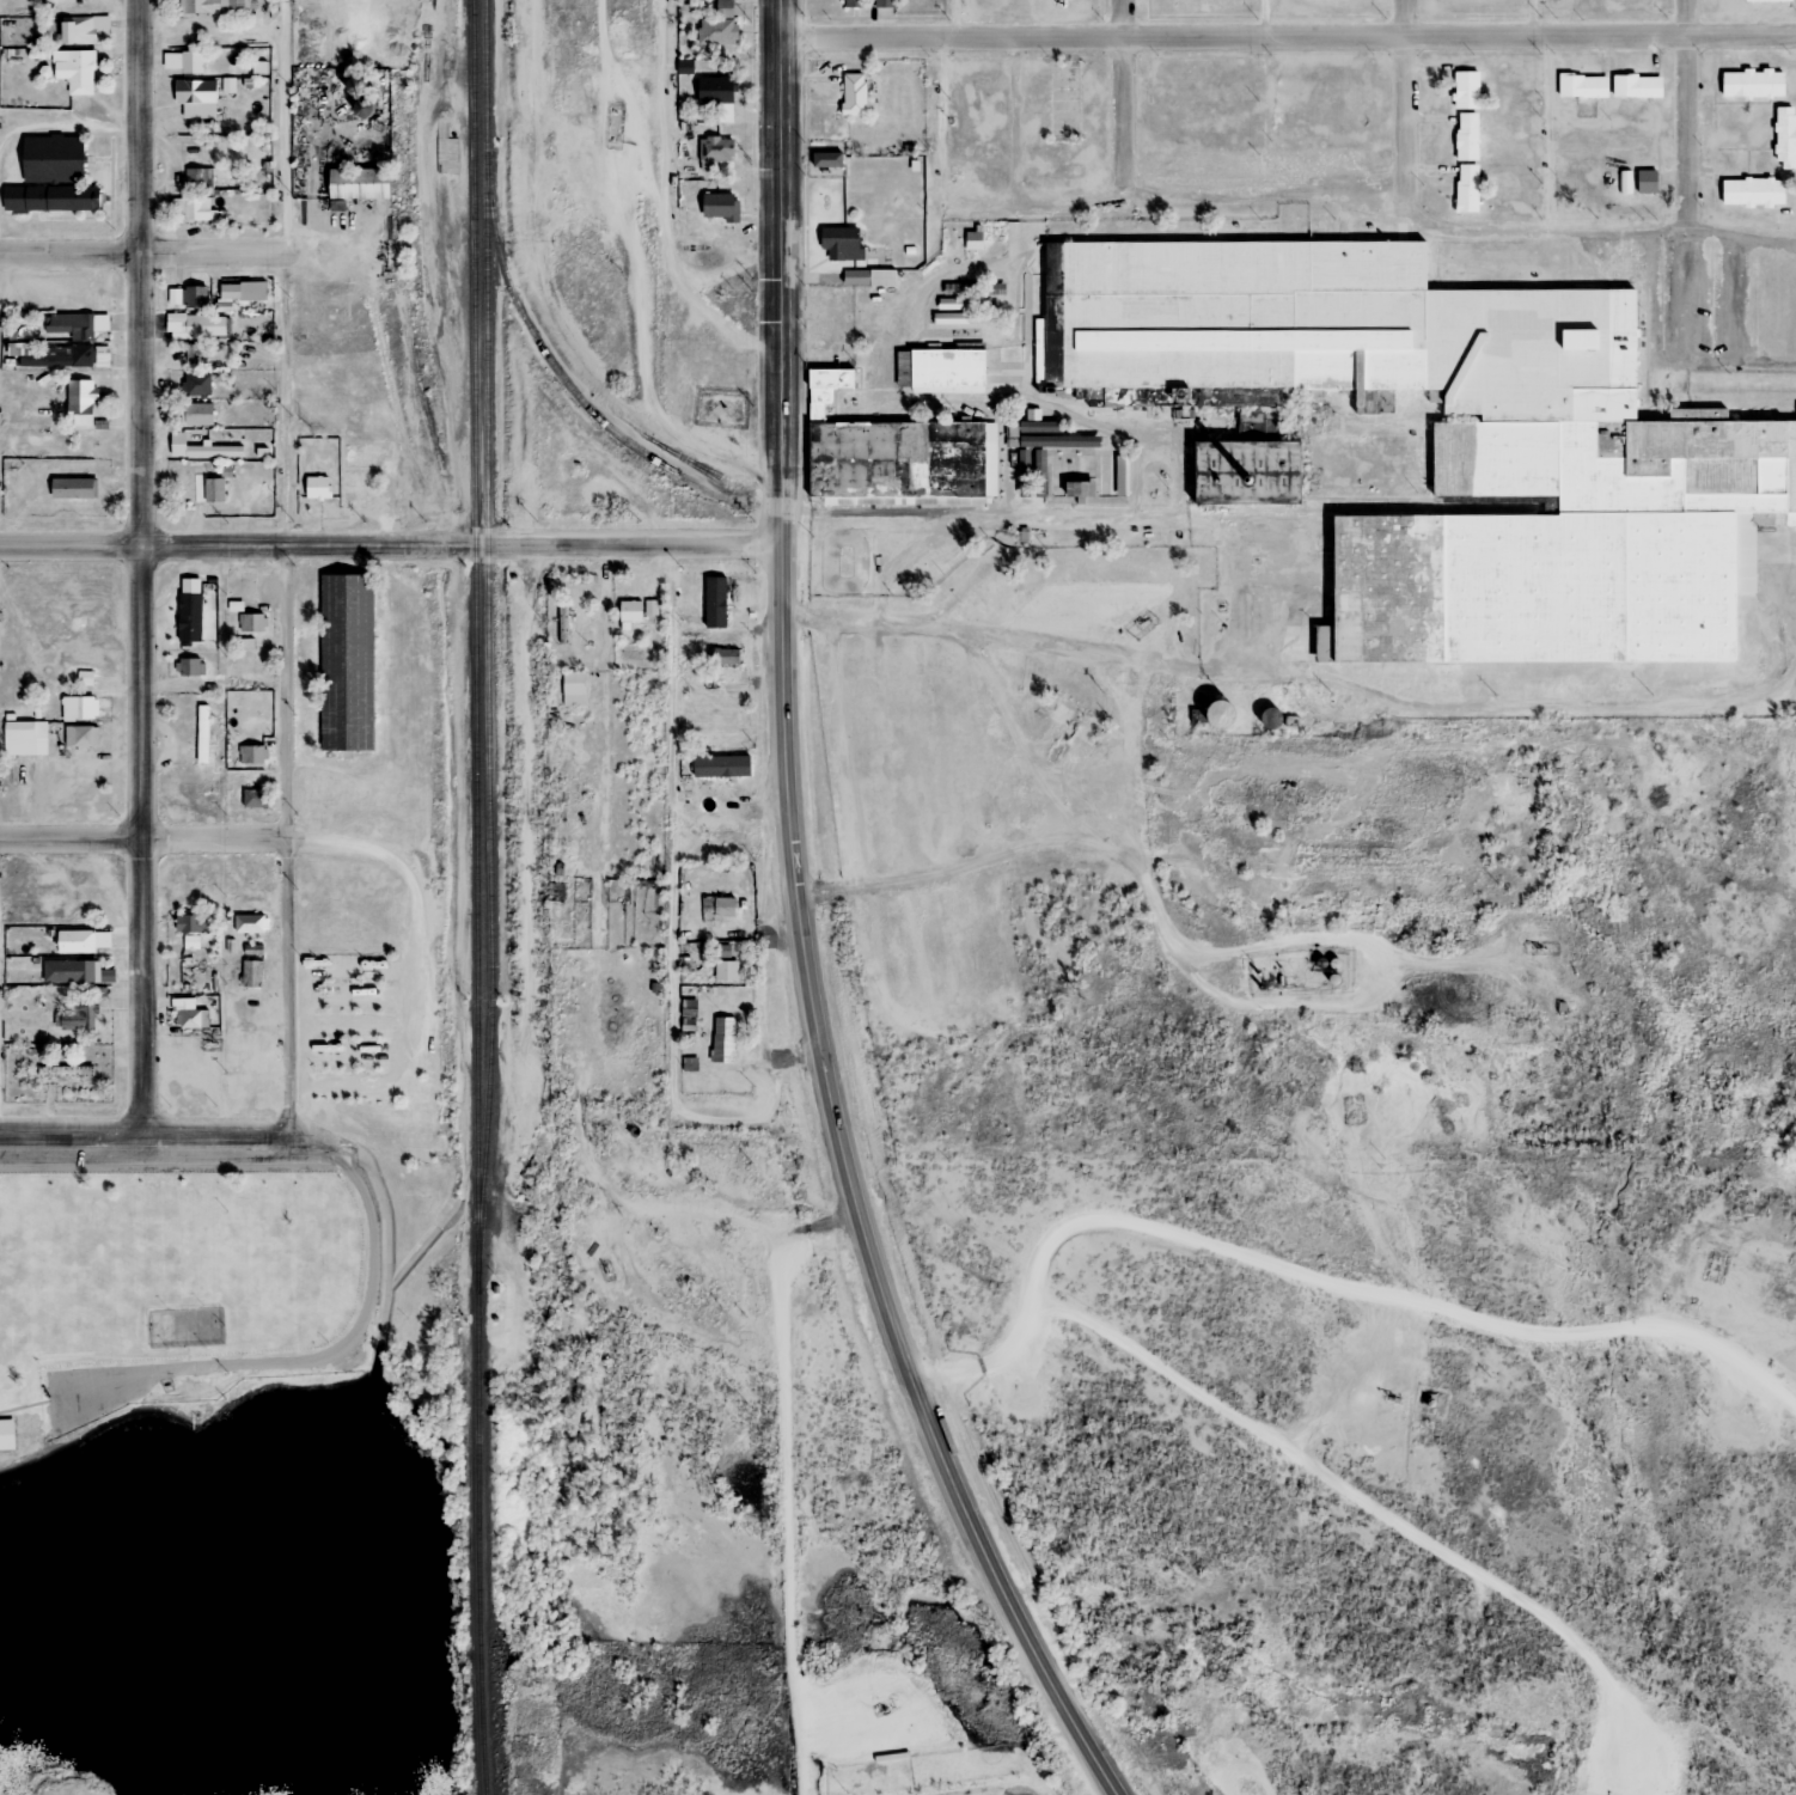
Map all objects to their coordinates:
building: (1331, 0)
building: (1459, 0)
building: (1312, 1)
building: (1479, 1)
building: (1059, 2)
building: (850, 4)
building: (882, 4)
building: (1761, 4)
building: (1203, 5)
building: (201, 6)
road: (1531, 18)
road: (778, 19)
road: (953, 19)
road: (1260, 19)
building: (714, 24)
building: (73, 31)
building: (197, 32)
road: (1287, 38)
building: (184, 61)
building: (77, 71)
building: (196, 91)
building: (1746, 91)
building: (714, 92)
building: (1576, 92)
building: (1631, 93)
building: (1460, 98)
building: (850, 99)
road: (1125, 99)
road: (1407, 106)
road: (1691, 115)
road: (1544, 135)
building: (1461, 144)
building: (1780, 144)
building: (716, 151)
building: (51, 159)
building: (825, 165)
building: (356, 183)
building: (1641, 183)
building: (1620, 189)
building: (1461, 197)
building: (50, 199)
building: (1748, 200)
building: (720, 207)
building: (190, 209)
road: (661, 210)
road: (1460, 230)
building: (838, 249)
road: (158, 252)
road: (283, 273)
building: (194, 297)
building: (75, 325)
building: (197, 325)
railway: (540, 346)
building: (62, 356)
building: (939, 374)
building: (196, 385)
building: (80, 403)
building: (196, 414)
building: (1452, 446)
building: (890, 458)
building: (37, 475)
building: (1245, 478)
building: (317, 487)
building: (206, 490)
building: (1051, 537)
road: (141, 545)
road: (532, 547)
road: (143, 572)
building: (629, 613)
building: (719, 615)
building: (189, 617)
building: (253, 623)
railway: (488, 631)
road: (1038, 643)
building: (725, 657)
building: (190, 667)
building: (251, 667)
building: (341, 668)
building: (574, 689)
building: (78, 708)
building: (1215, 716)
building: (1266, 725)
building: (722, 731)
building: (80, 735)
building: (24, 738)
building: (251, 755)
building: (715, 774)
building: (253, 795)
road: (206, 837)
road: (285, 845)
road: (1026, 848)
railway: (477, 897)
building: (716, 906)
building: (191, 923)
building: (250, 923)
building: (88, 941)
road: (806, 946)
road: (350, 967)
road: (415, 970)
building: (80, 971)
building: (251, 973)
road: (350, 999)
building: (191, 1019)
road: (348, 1024)
building: (723, 1039)
road: (344, 1054)
building: (65, 1071)
road: (342, 1086)
road: (216, 1146)
park: (231, 1276)
road: (1322, 1276)
park: (184, 1330)
road: (73, 1359)
road: (184, 1360)
road: (257, 1363)
parking lot: (93, 1392)
road: (33, 1409)
building: (5, 1437)
road: (787, 1467)
road: (1358, 1507)

